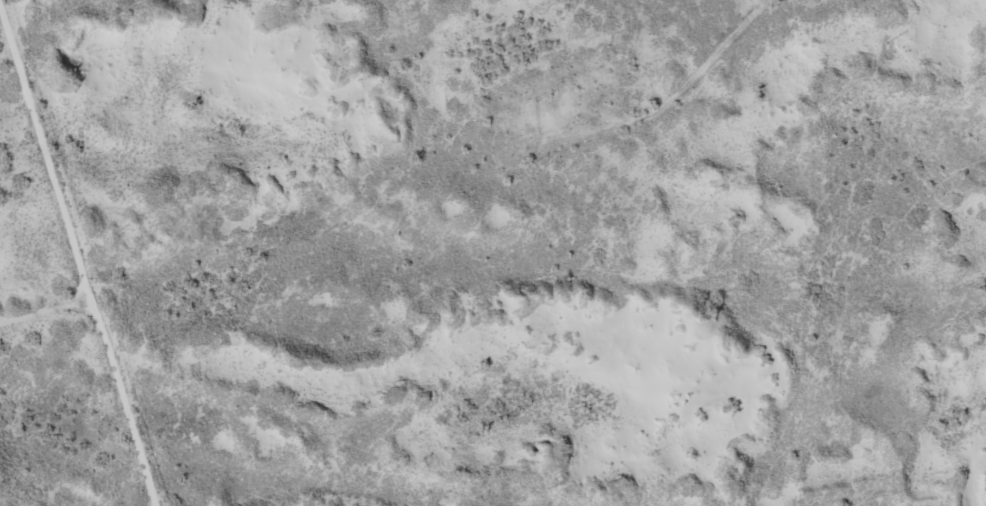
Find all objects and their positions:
road: (88, 253)
road: (52, 320)

